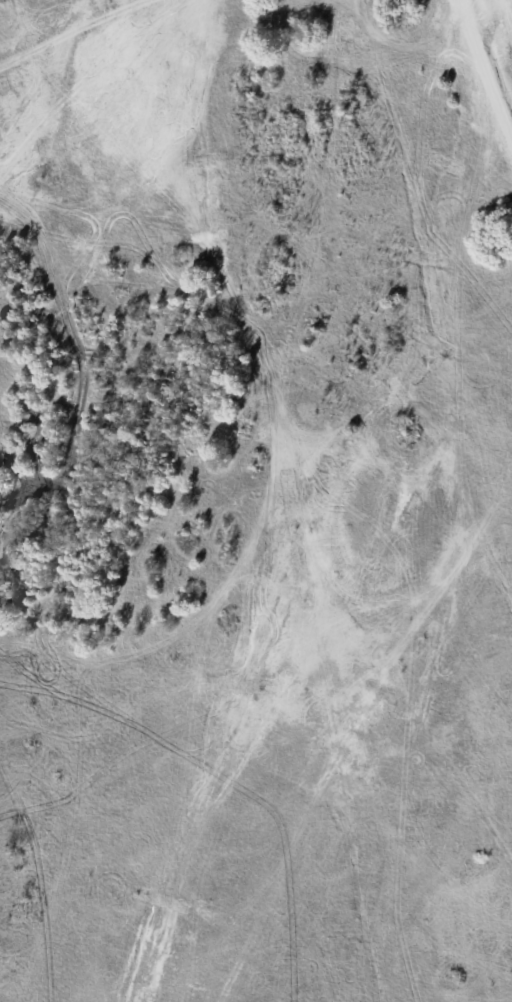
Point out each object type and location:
road: (487, 64)

